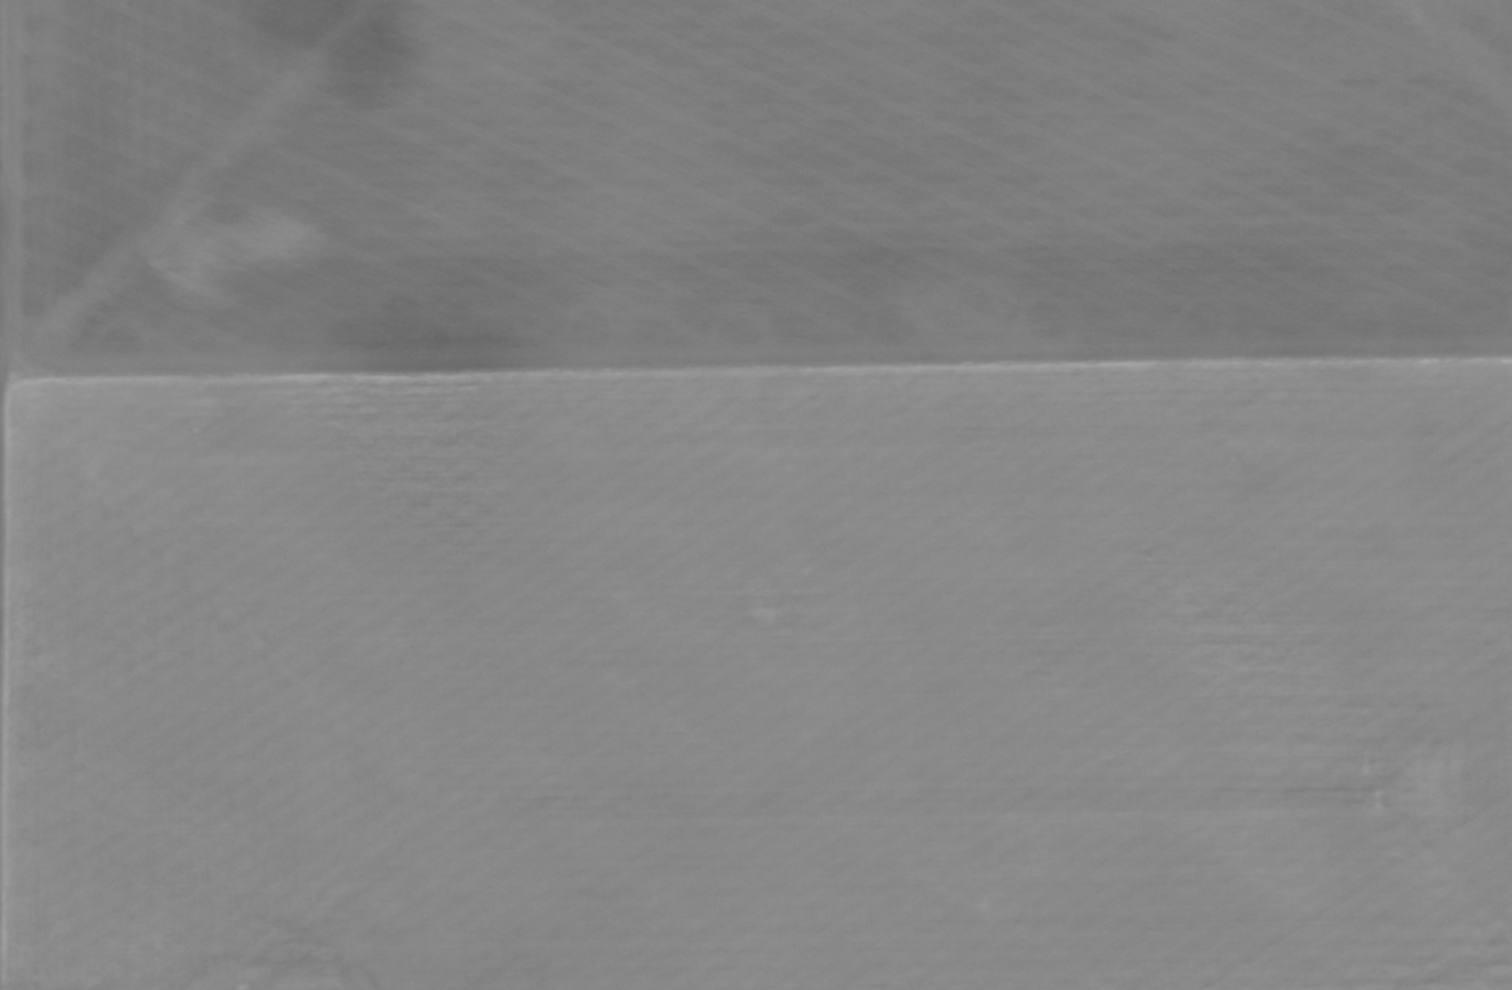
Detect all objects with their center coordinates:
crop: (756, 495)

